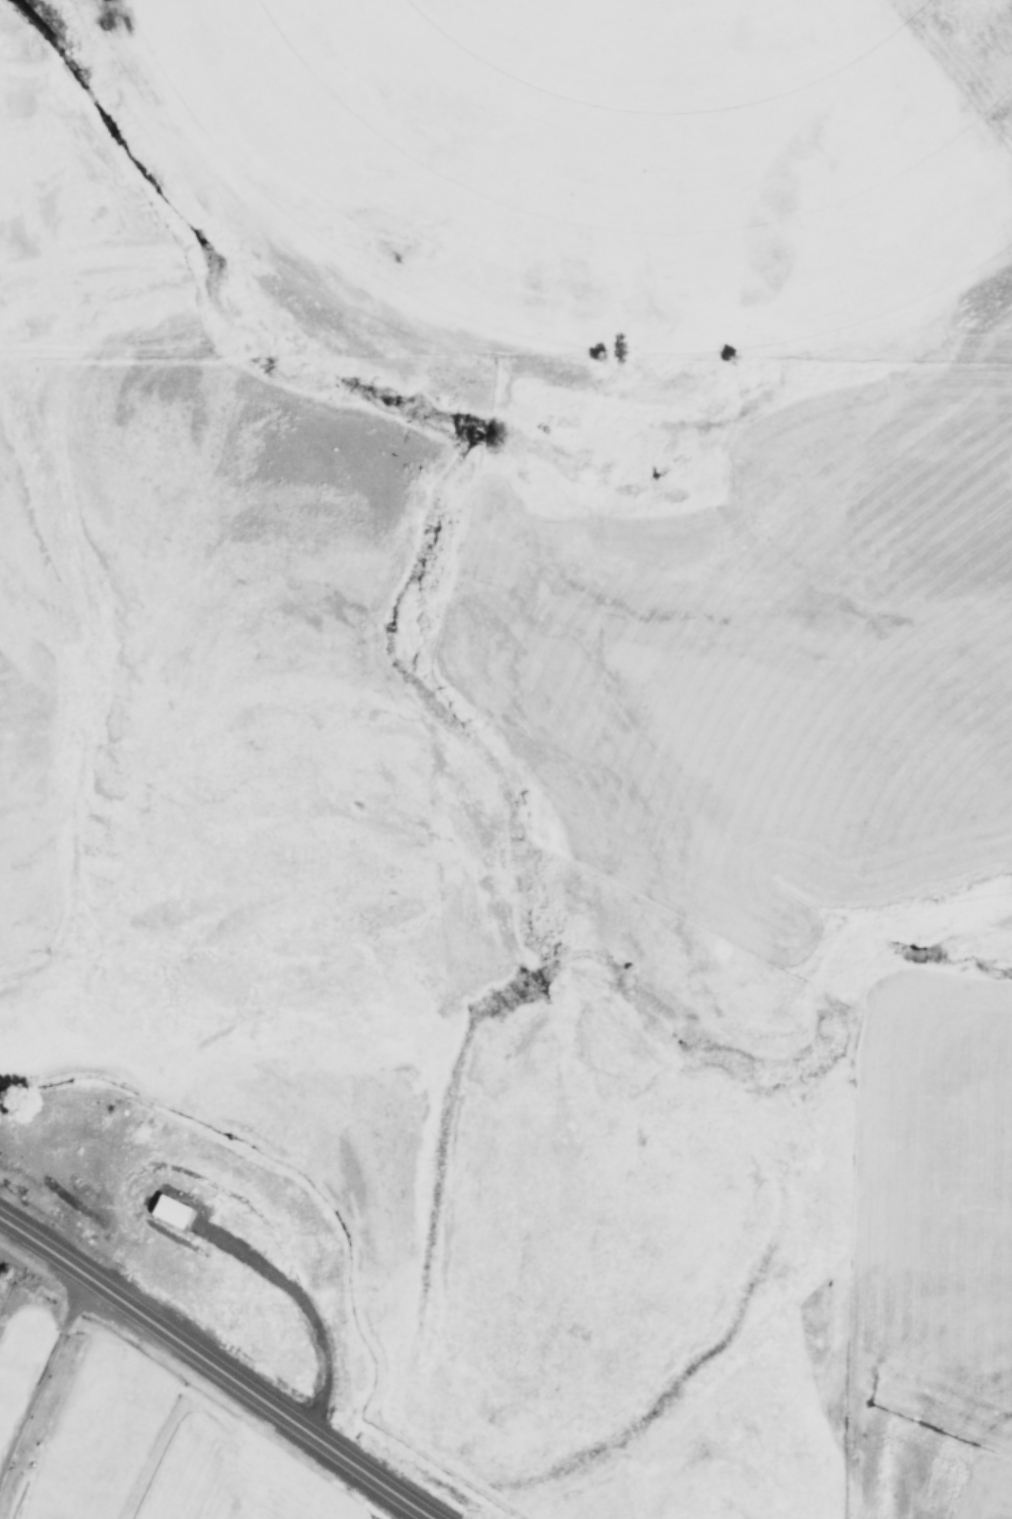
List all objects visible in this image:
building: (165, 1214)
road: (301, 1305)
road: (42, 1361)
road: (219, 1371)

